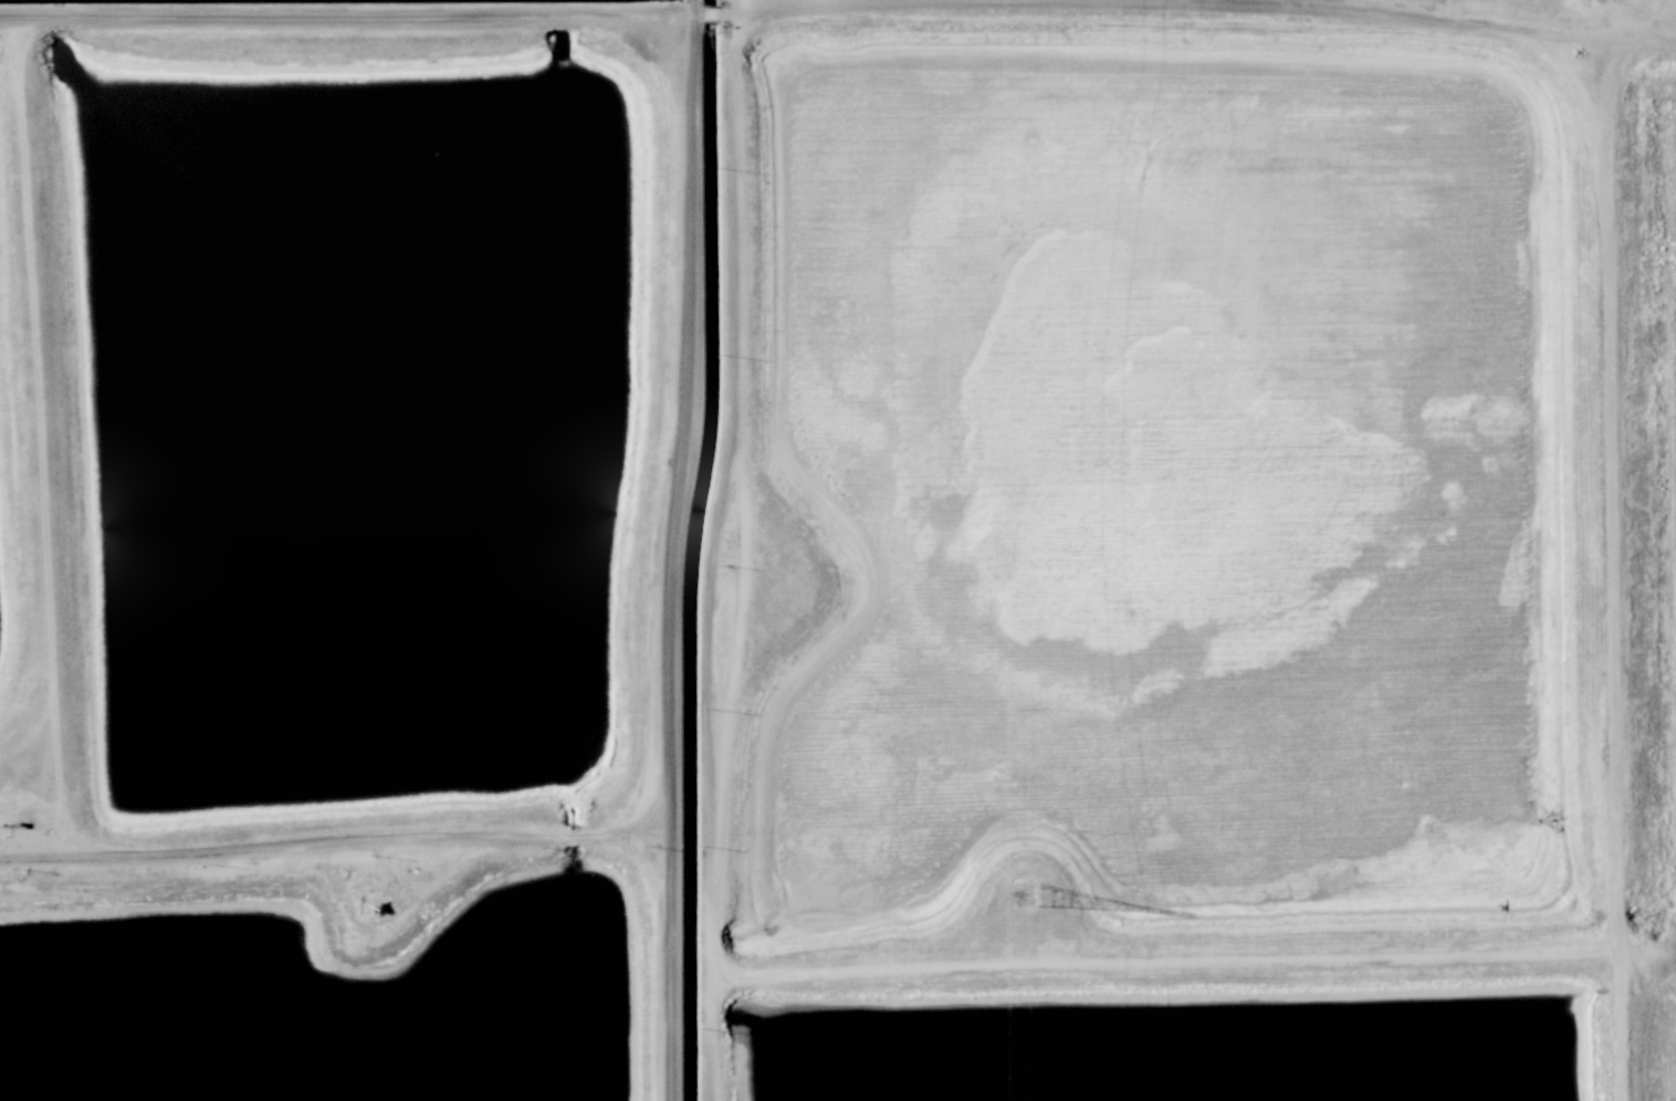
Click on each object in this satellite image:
road: (345, 17)
wastewater plant: (355, 420)
road: (43, 437)
wastewater plant: (1153, 468)
wastewater plant: (1658, 504)
wastewater plant: (9, 512)
road: (669, 549)
wastewater plant: (838, 550)
road: (333, 841)
power tower: (1026, 893)
wastewater plant: (324, 995)
wastewater plant: (1664, 1045)
wastewater plant: (1166, 1050)

